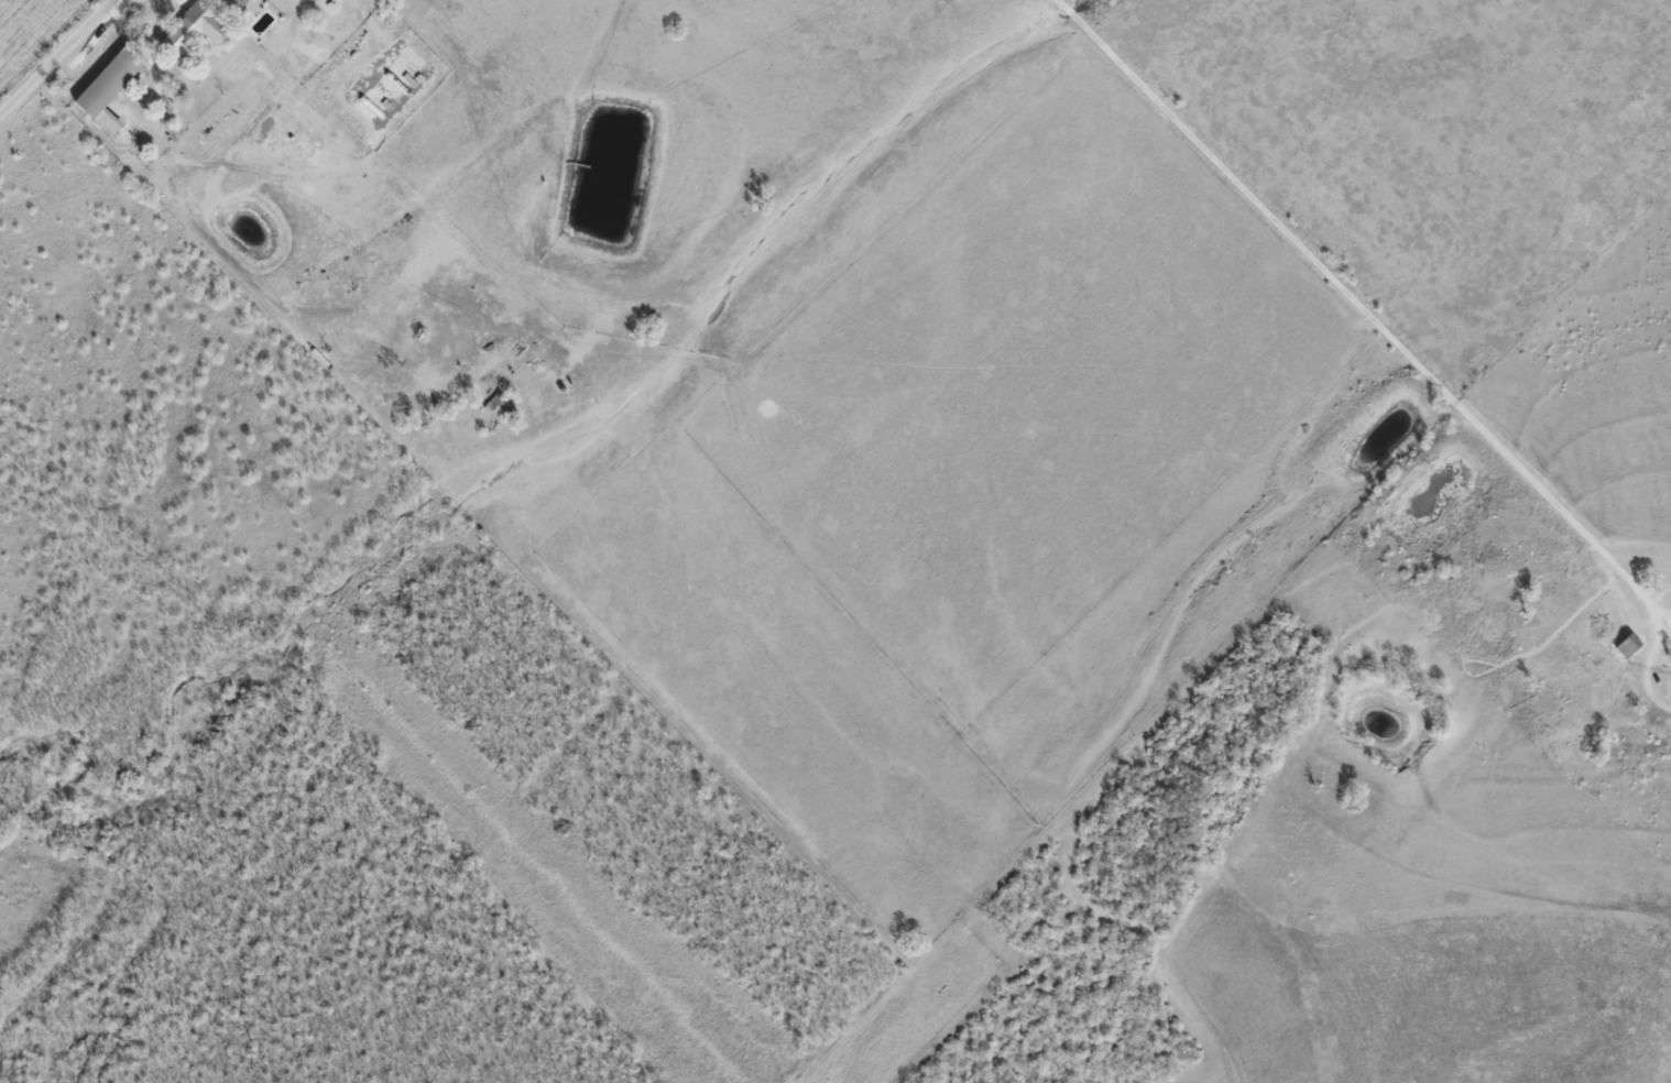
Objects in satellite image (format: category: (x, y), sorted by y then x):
road: (1057, 1)
building: (228, 6)
road: (1068, 11)
building: (192, 29)
road: (56, 57)
building: (107, 87)
road: (1368, 316)
building: (1626, 645)

